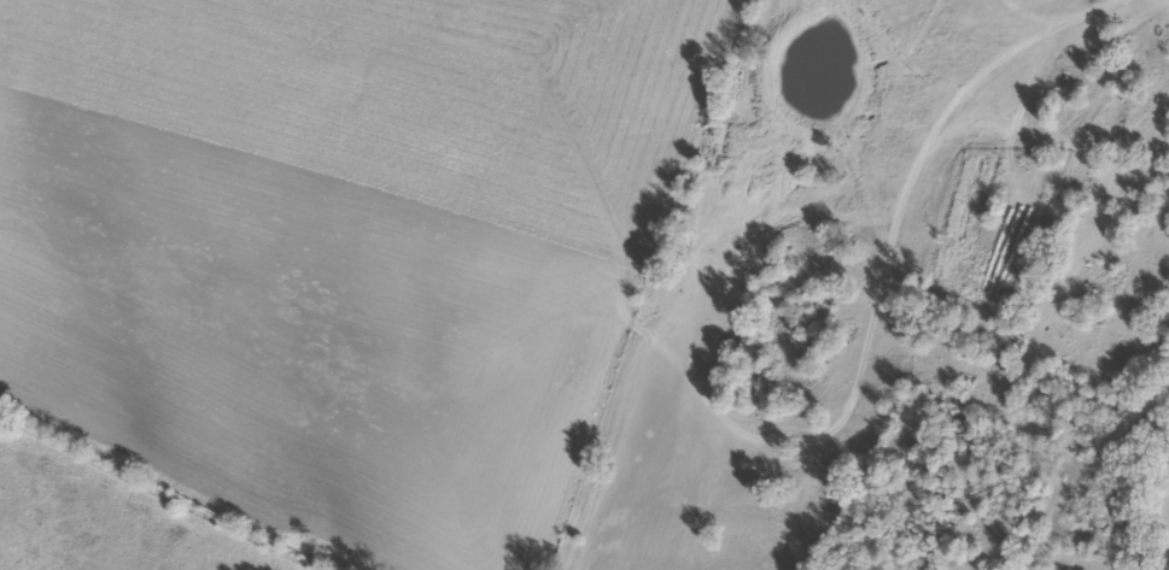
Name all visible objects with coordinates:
road: (1101, 463)

